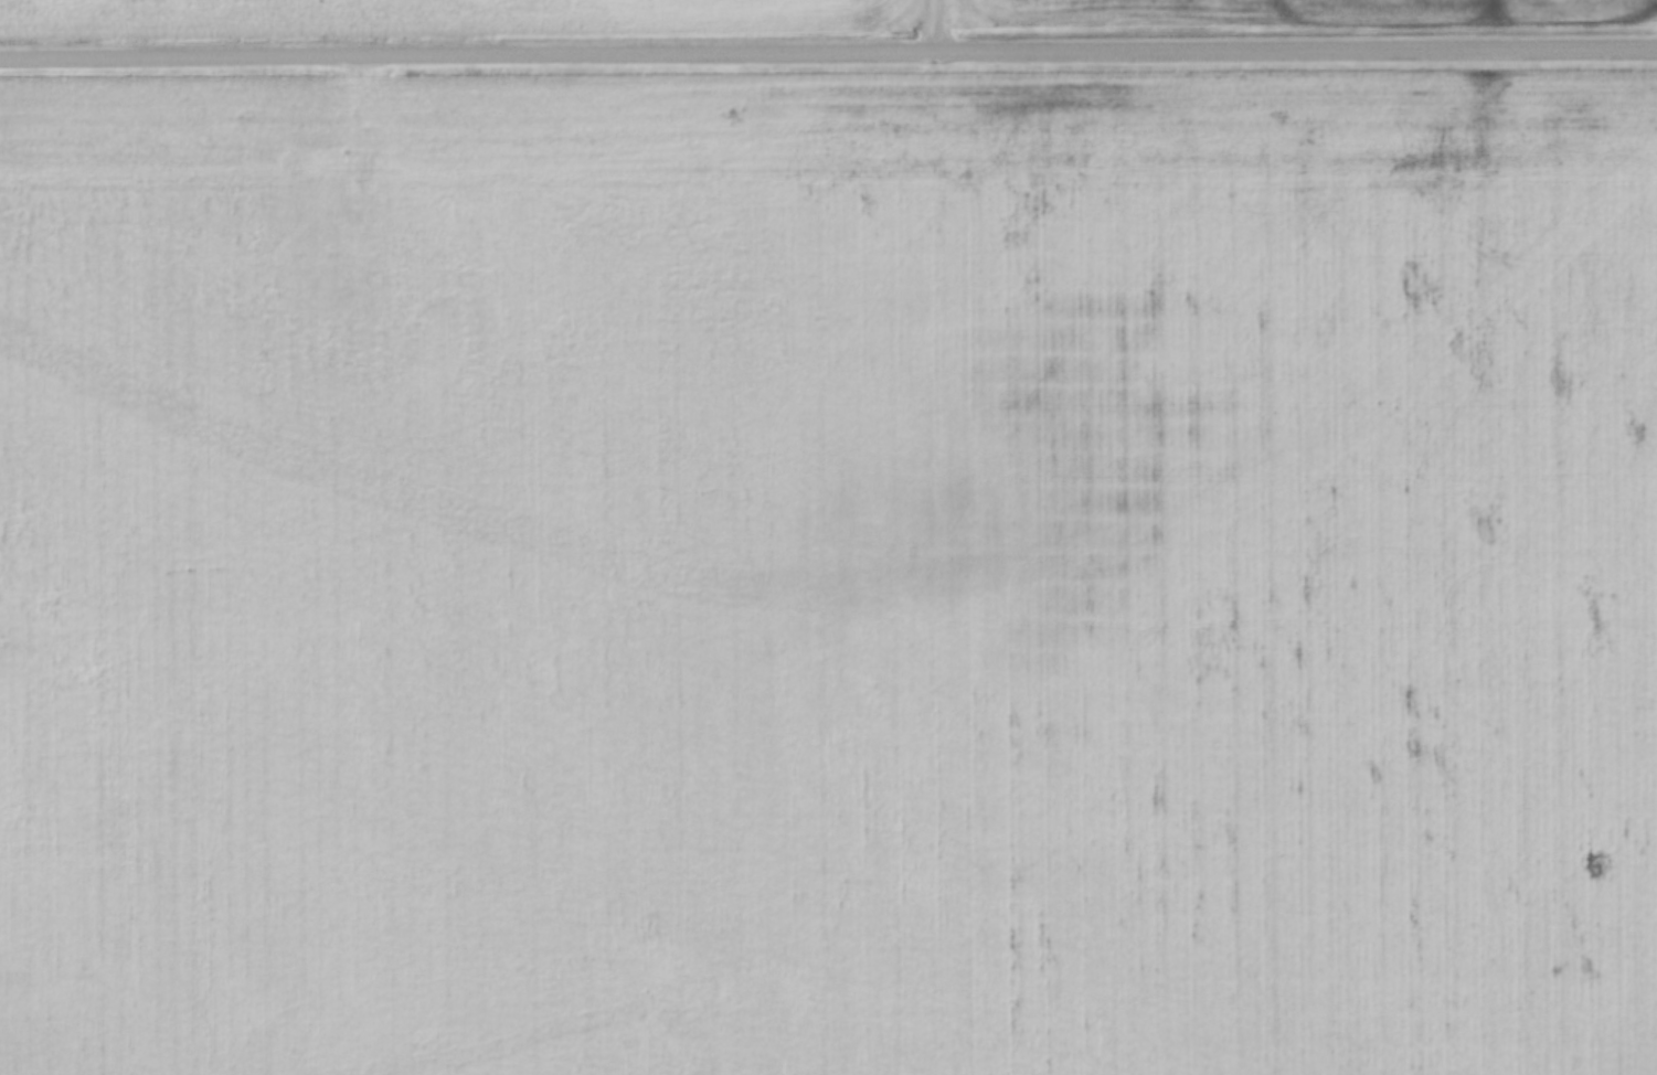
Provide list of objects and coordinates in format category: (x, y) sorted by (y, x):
road: (941, 24)
road: (828, 50)

